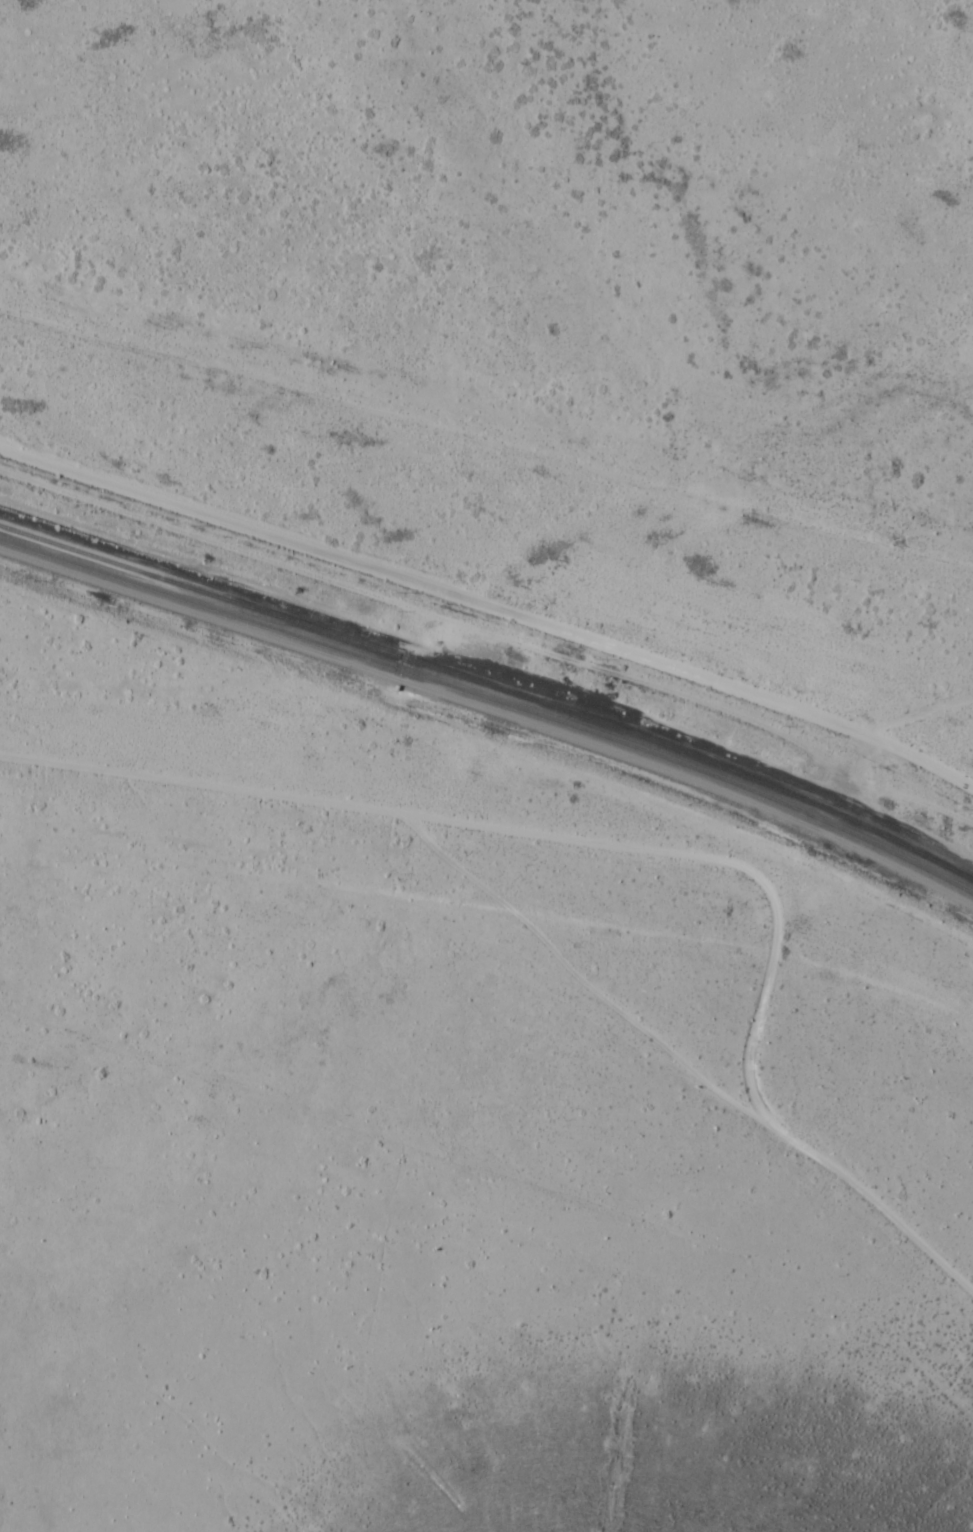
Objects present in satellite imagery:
road: (436, 586)
road: (452, 618)
railway: (492, 687)
railway: (492, 699)
road: (919, 709)
road: (922, 760)
road: (379, 765)
road: (421, 859)
road: (806, 1160)

